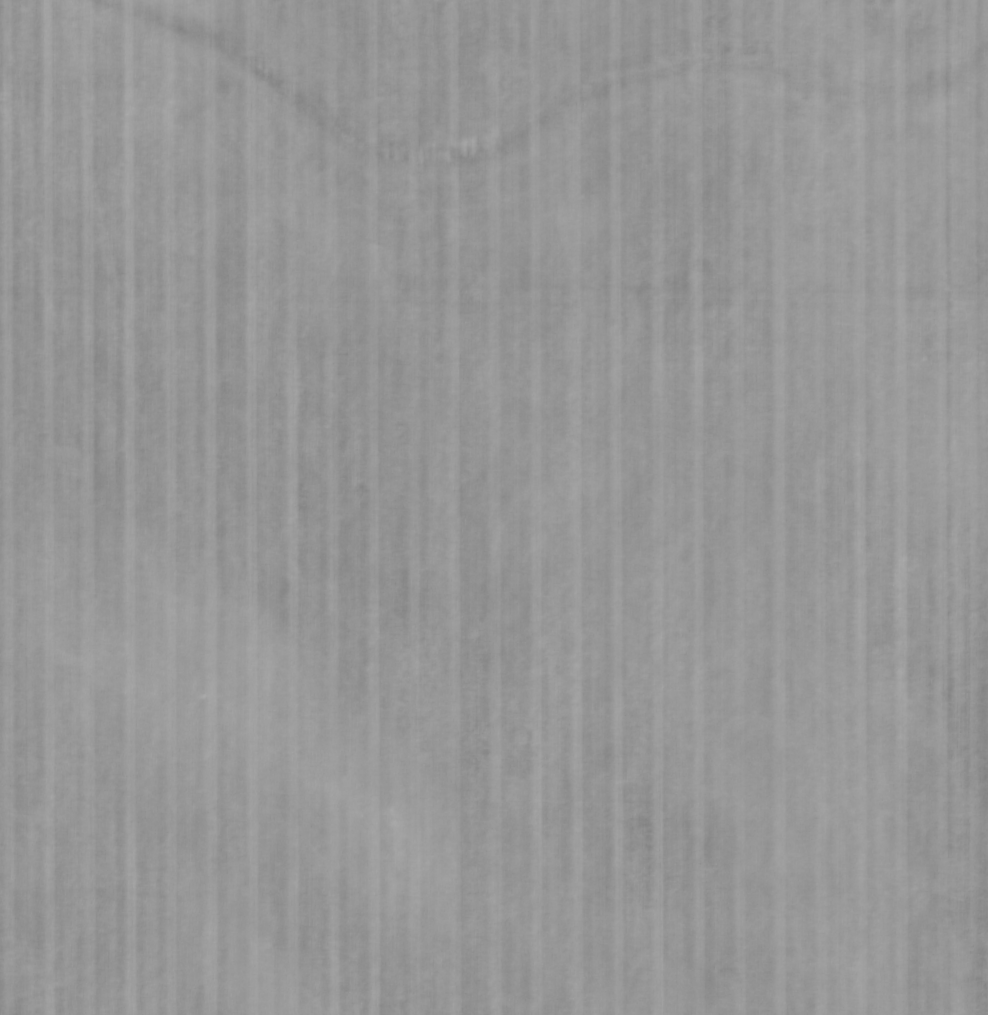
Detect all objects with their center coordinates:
crop: (494, 507)

